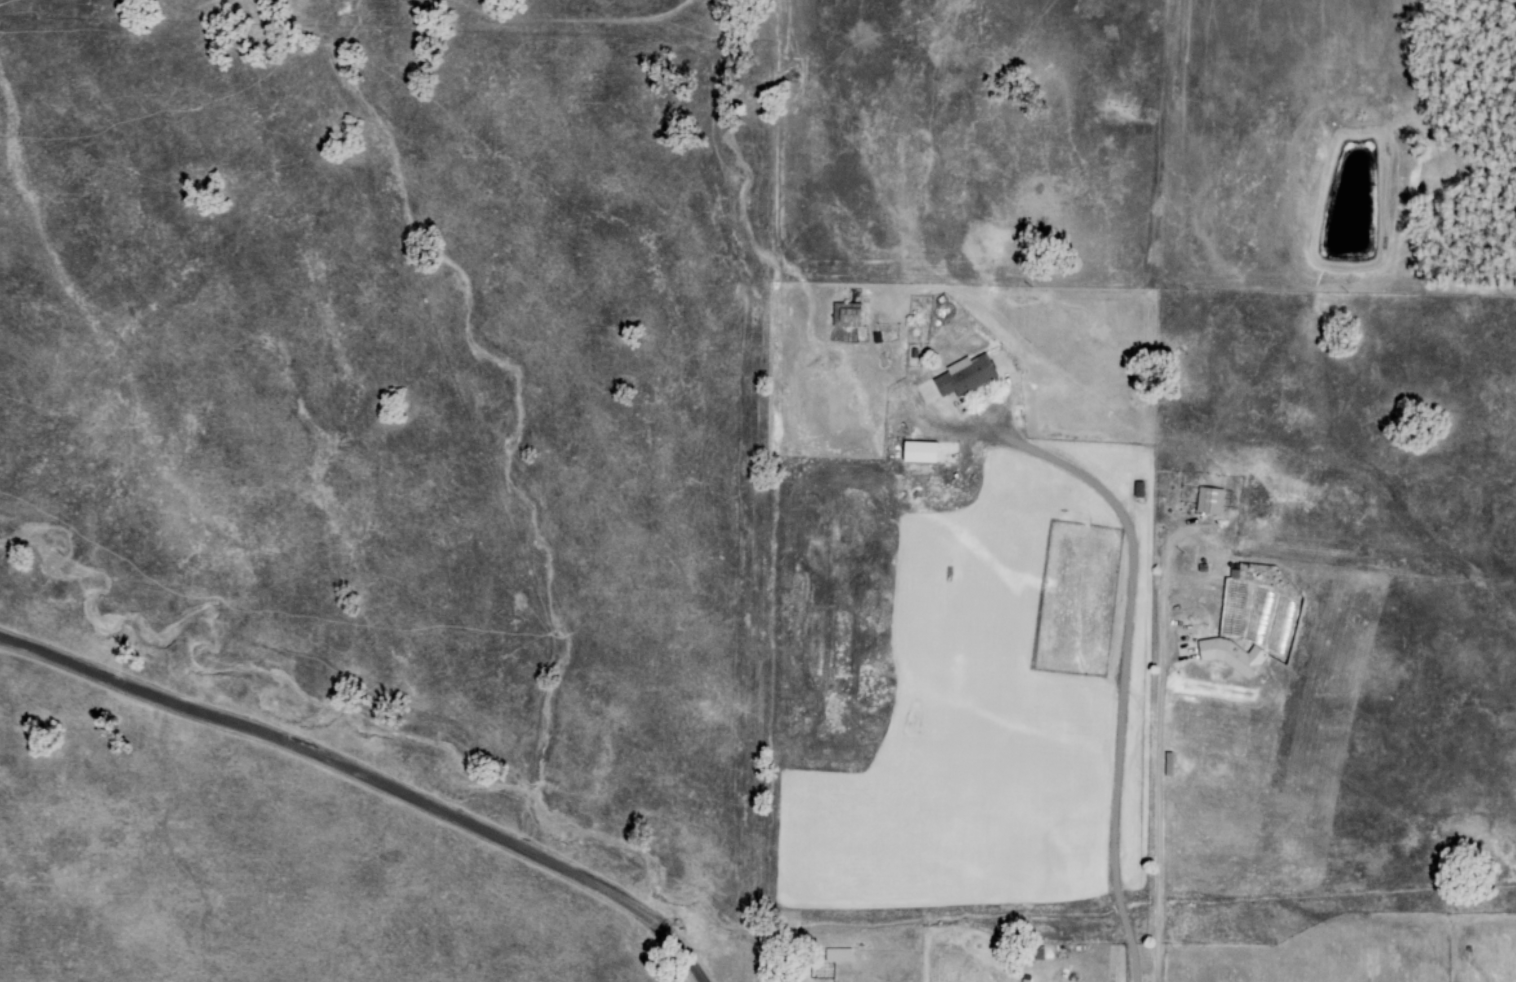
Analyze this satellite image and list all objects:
building: (846, 315)
building: (965, 376)
building: (928, 452)
road: (1167, 490)
building: (1209, 501)
building: (1251, 600)
building: (1231, 656)
road: (1126, 664)
road: (369, 778)
road: (1114, 948)

